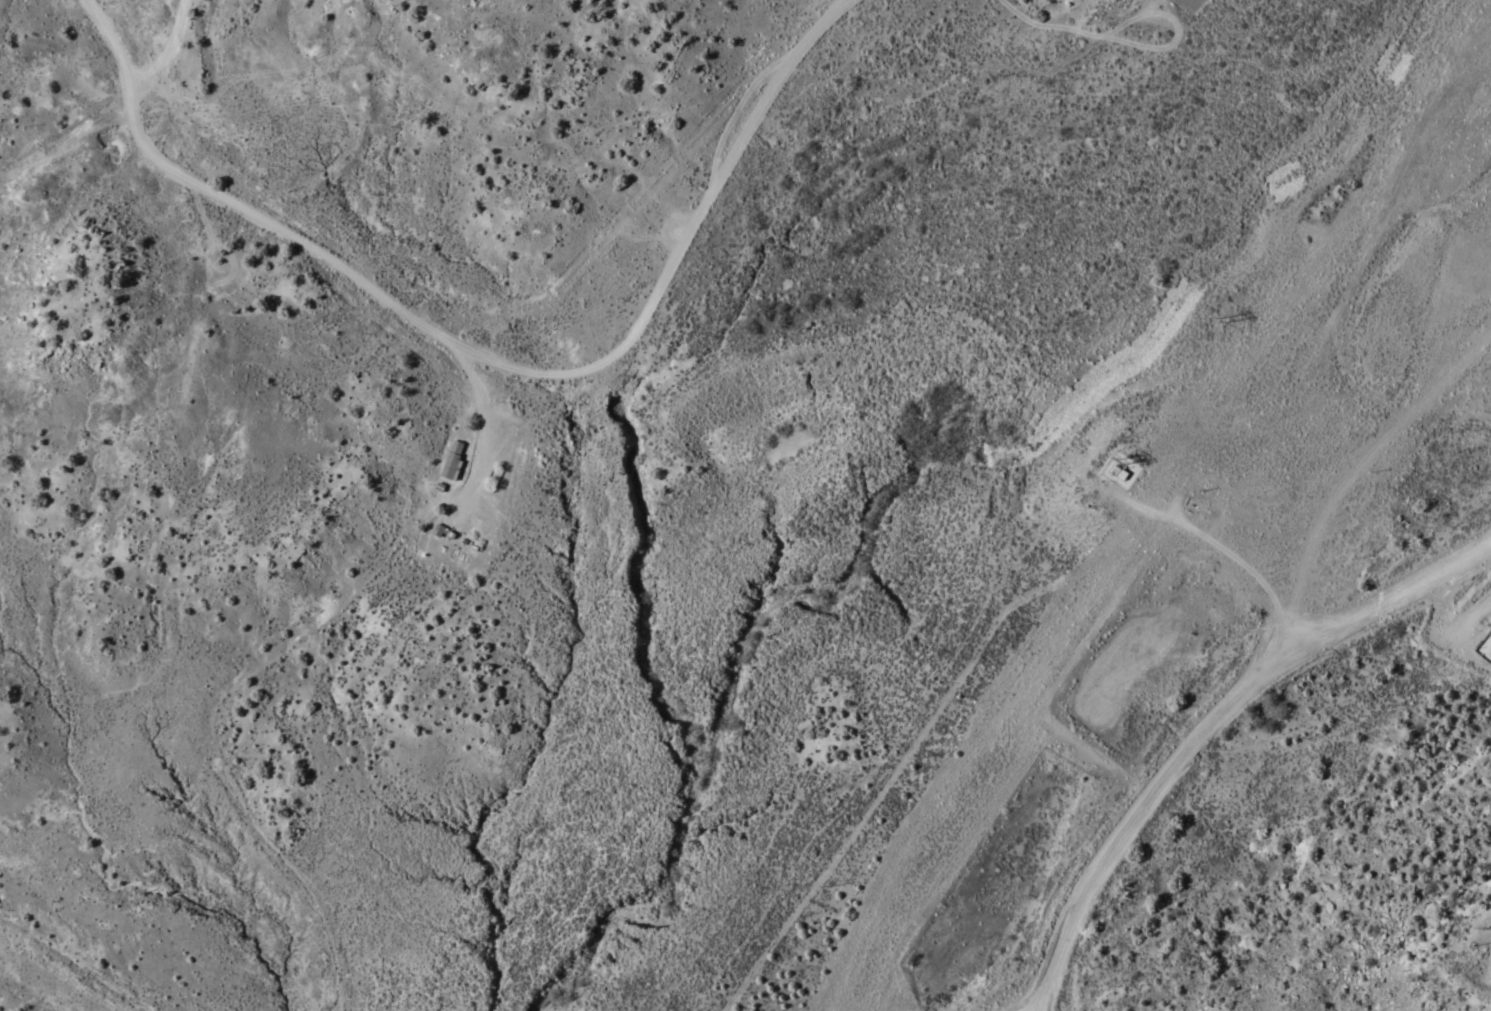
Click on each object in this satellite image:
road: (485, 354)
building: (1235, 455)
building: (453, 458)
railway: (1162, 515)
building: (1485, 648)

